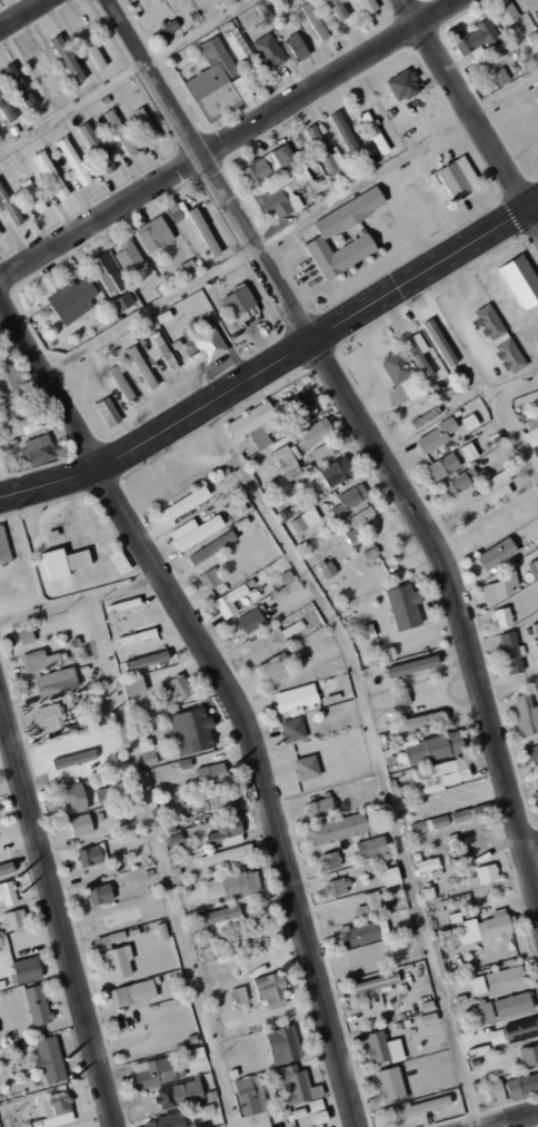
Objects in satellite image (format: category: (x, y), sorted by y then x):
building: (531, 4)
building: (369, 8)
building: (337, 9)
road: (20, 12)
building: (507, 12)
building: (315, 20)
building: (168, 27)
building: (478, 39)
building: (237, 41)
building: (296, 47)
building: (269, 50)
building: (93, 51)
building: (68, 58)
building: (38, 70)
road: (122, 75)
building: (499, 78)
building: (217, 80)
building: (20, 85)
building: (403, 85)
building: (4, 101)
road: (470, 111)
building: (147, 123)
building: (372, 127)
building: (121, 132)
road: (231, 140)
building: (97, 147)
building: (325, 151)
building: (73, 160)
building: (267, 165)
building: (51, 175)
building: (452, 179)
building: (281, 194)
building: (33, 195)
building: (9, 207)
building: (186, 214)
building: (155, 233)
building: (325, 234)
building: (0, 235)
building: (213, 248)
building: (129, 256)
building: (188, 269)
building: (108, 274)
building: (521, 280)
building: (71, 296)
building: (123, 300)
building: (240, 304)
building: (499, 338)
building: (440, 343)
building: (209, 346)
building: (165, 350)
building: (419, 354)
road: (275, 364)
building: (142, 367)
building: (400, 379)
building: (122, 384)
building: (12, 385)
building: (303, 404)
building: (108, 412)
building: (470, 422)
building: (31, 423)
road: (363, 424)
building: (252, 426)
building: (531, 429)
building: (317, 432)
building: (436, 435)
building: (39, 448)
building: (325, 451)
building: (468, 452)
building: (287, 456)
building: (444, 465)
building: (337, 472)
building: (460, 481)
building: (498, 486)
building: (350, 498)
building: (185, 503)
building: (306, 520)
building: (360, 522)
building: (196, 531)
building: (4, 547)
building: (212, 547)
building: (497, 553)
building: (64, 562)
building: (119, 562)
building: (534, 567)
building: (328, 569)
building: (211, 577)
building: (500, 586)
road: (80, 596)
building: (230, 601)
building: (405, 606)
building: (501, 617)
building: (250, 620)
building: (536, 629)
building: (138, 636)
building: (266, 644)
building: (511, 653)
building: (39, 660)
building: (148, 660)
building: (416, 663)
building: (272, 672)
building: (57, 681)
building: (138, 683)
building: (177, 688)
road: (229, 690)
building: (401, 698)
building: (297, 702)
building: (526, 714)
building: (49, 715)
building: (418, 721)
building: (292, 730)
building: (191, 731)
building: (434, 747)
building: (148, 752)
road: (373, 752)
building: (534, 753)
building: (74, 759)
building: (307, 768)
building: (212, 773)
building: (439, 775)
building: (536, 777)
building: (73, 798)
building: (227, 800)
building: (196, 804)
building: (320, 808)
building: (471, 812)
building: (429, 824)
building: (81, 826)
building: (337, 829)
building: (226, 832)
building: (173, 839)
building: (371, 847)
building: (92, 856)
building: (230, 856)
building: (457, 856)
road: (534, 856)
road: (162, 860)
building: (330, 860)
building: (428, 864)
building: (6, 868)
building: (487, 873)
building: (391, 877)
building: (236, 883)
building: (337, 887)
building: (8, 893)
building: (100, 894)
building: (370, 903)
road: (58, 912)
building: (16, 919)
building: (221, 919)
building: (485, 926)
building: (162, 931)
building: (363, 933)
building: (108, 940)
building: (208, 953)
building: (119, 961)
building: (27, 969)
building: (505, 979)
building: (376, 983)
building: (477, 985)
building: (270, 990)
building: (134, 992)
building: (239, 995)
building: (514, 1004)
building: (37, 1005)
building: (427, 1006)
building: (486, 1011)
building: (428, 1018)
building: (130, 1030)
building: (520, 1030)
building: (497, 1037)
building: (283, 1045)
building: (382, 1048)
building: (529, 1056)
building: (50, 1060)
building: (156, 1072)
building: (295, 1084)
building: (390, 1085)
building: (522, 1085)
building: (496, 1090)
building: (179, 1094)
building: (251, 1096)
building: (425, 1106)
building: (56, 1111)
building: (318, 1111)
building: (166, 1121)
road: (517, 1121)

